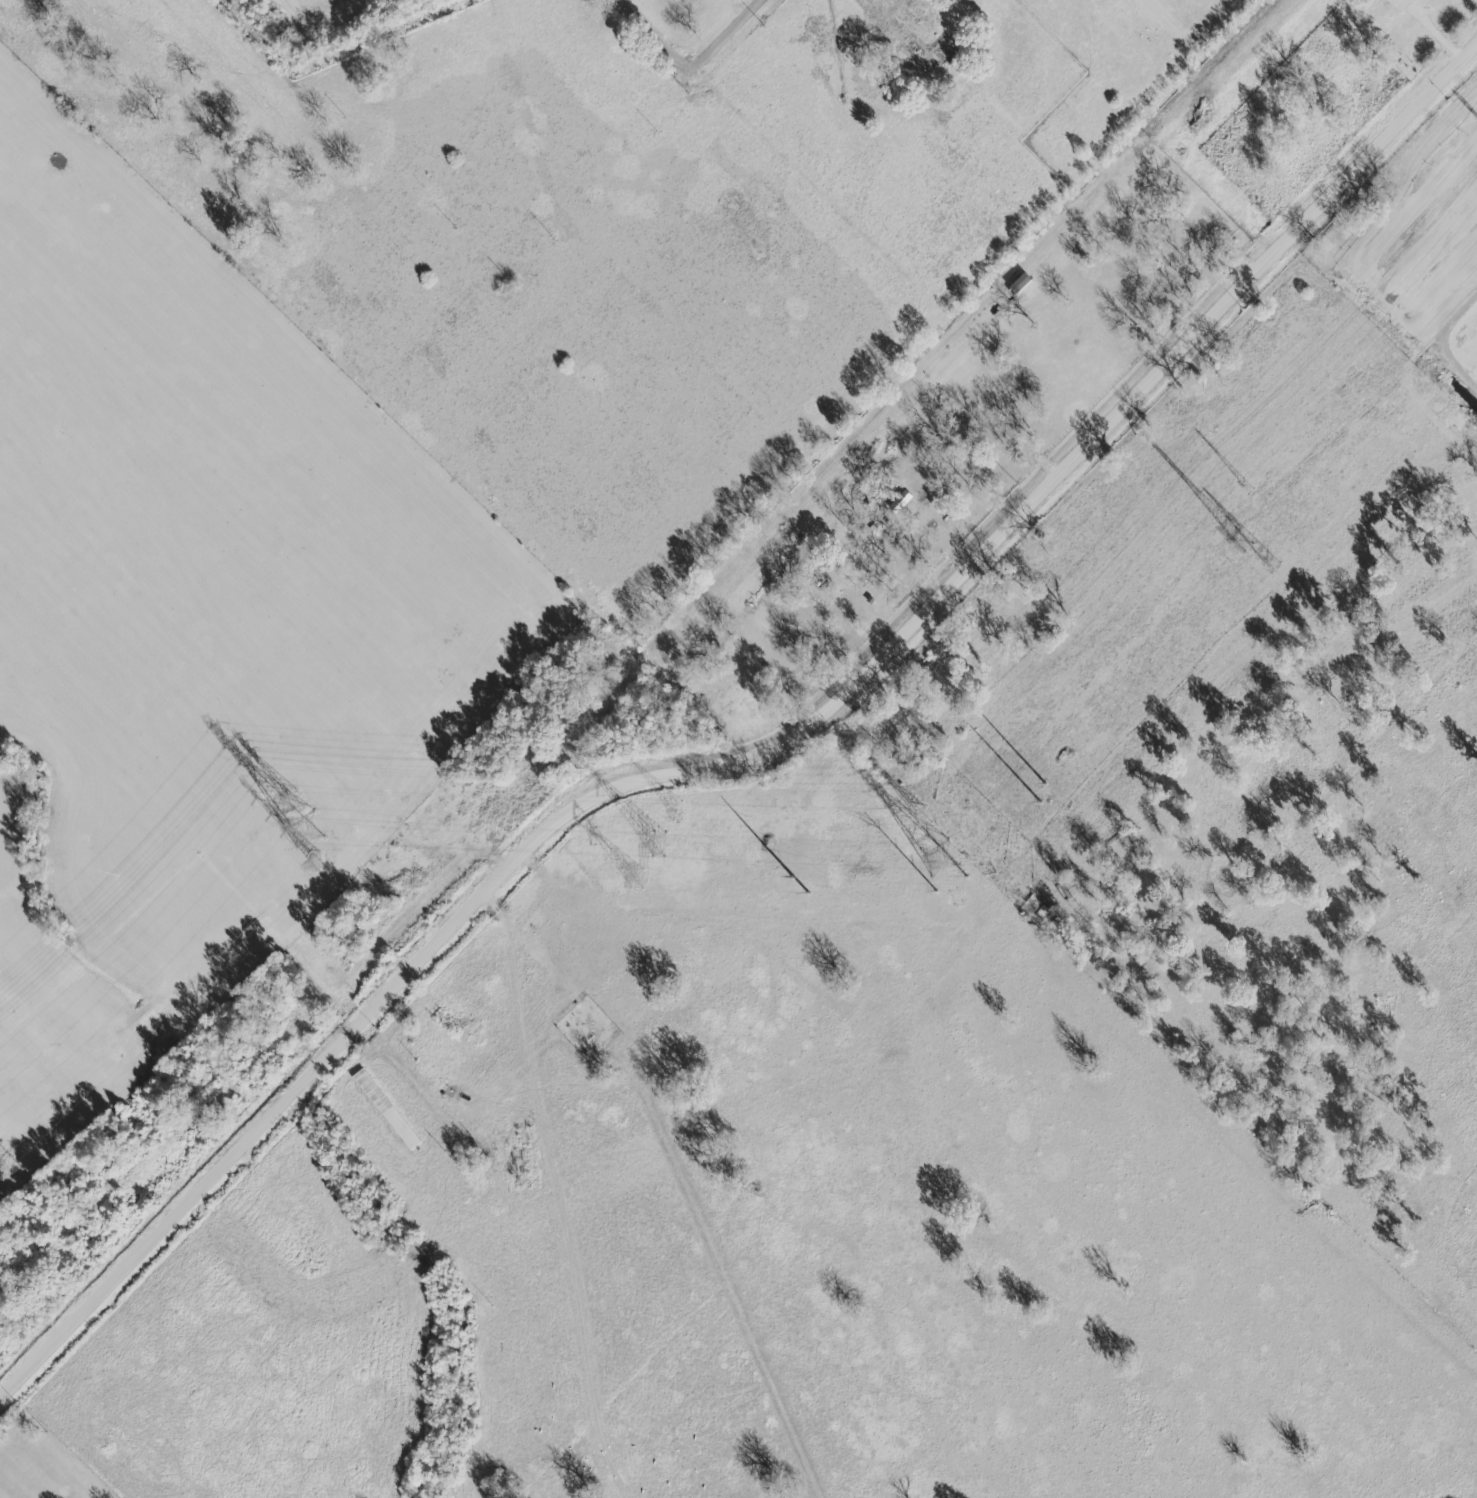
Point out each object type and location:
road: (651, 36)
road: (723, 36)
power tower: (1247, 486)
power tower: (1240, 543)
power tower: (1266, 561)
railway: (654, 636)
park: (726, 680)
road: (754, 758)
power tower: (296, 806)
power tower: (674, 810)
power tower: (923, 817)
power tower: (305, 832)
power tower: (659, 847)
power tower: (318, 861)
power tower: (940, 861)
power tower: (637, 879)
power tower: (956, 897)
power tower: (12, 1167)
road: (554, 1198)

